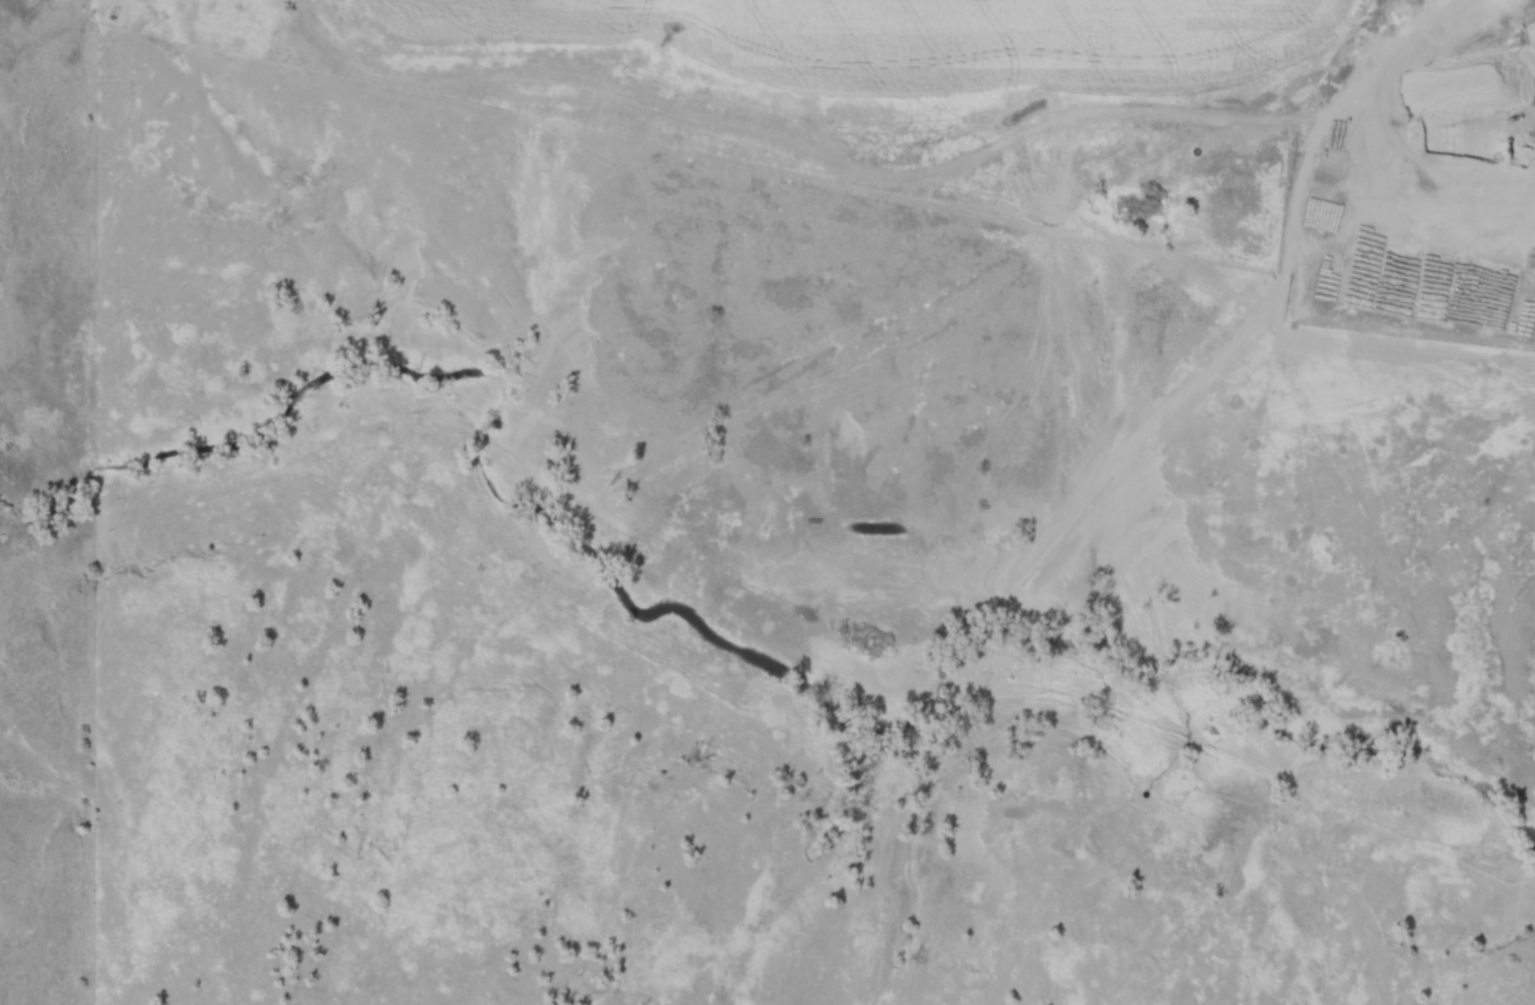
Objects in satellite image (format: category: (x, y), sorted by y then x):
road: (1444, 34)

